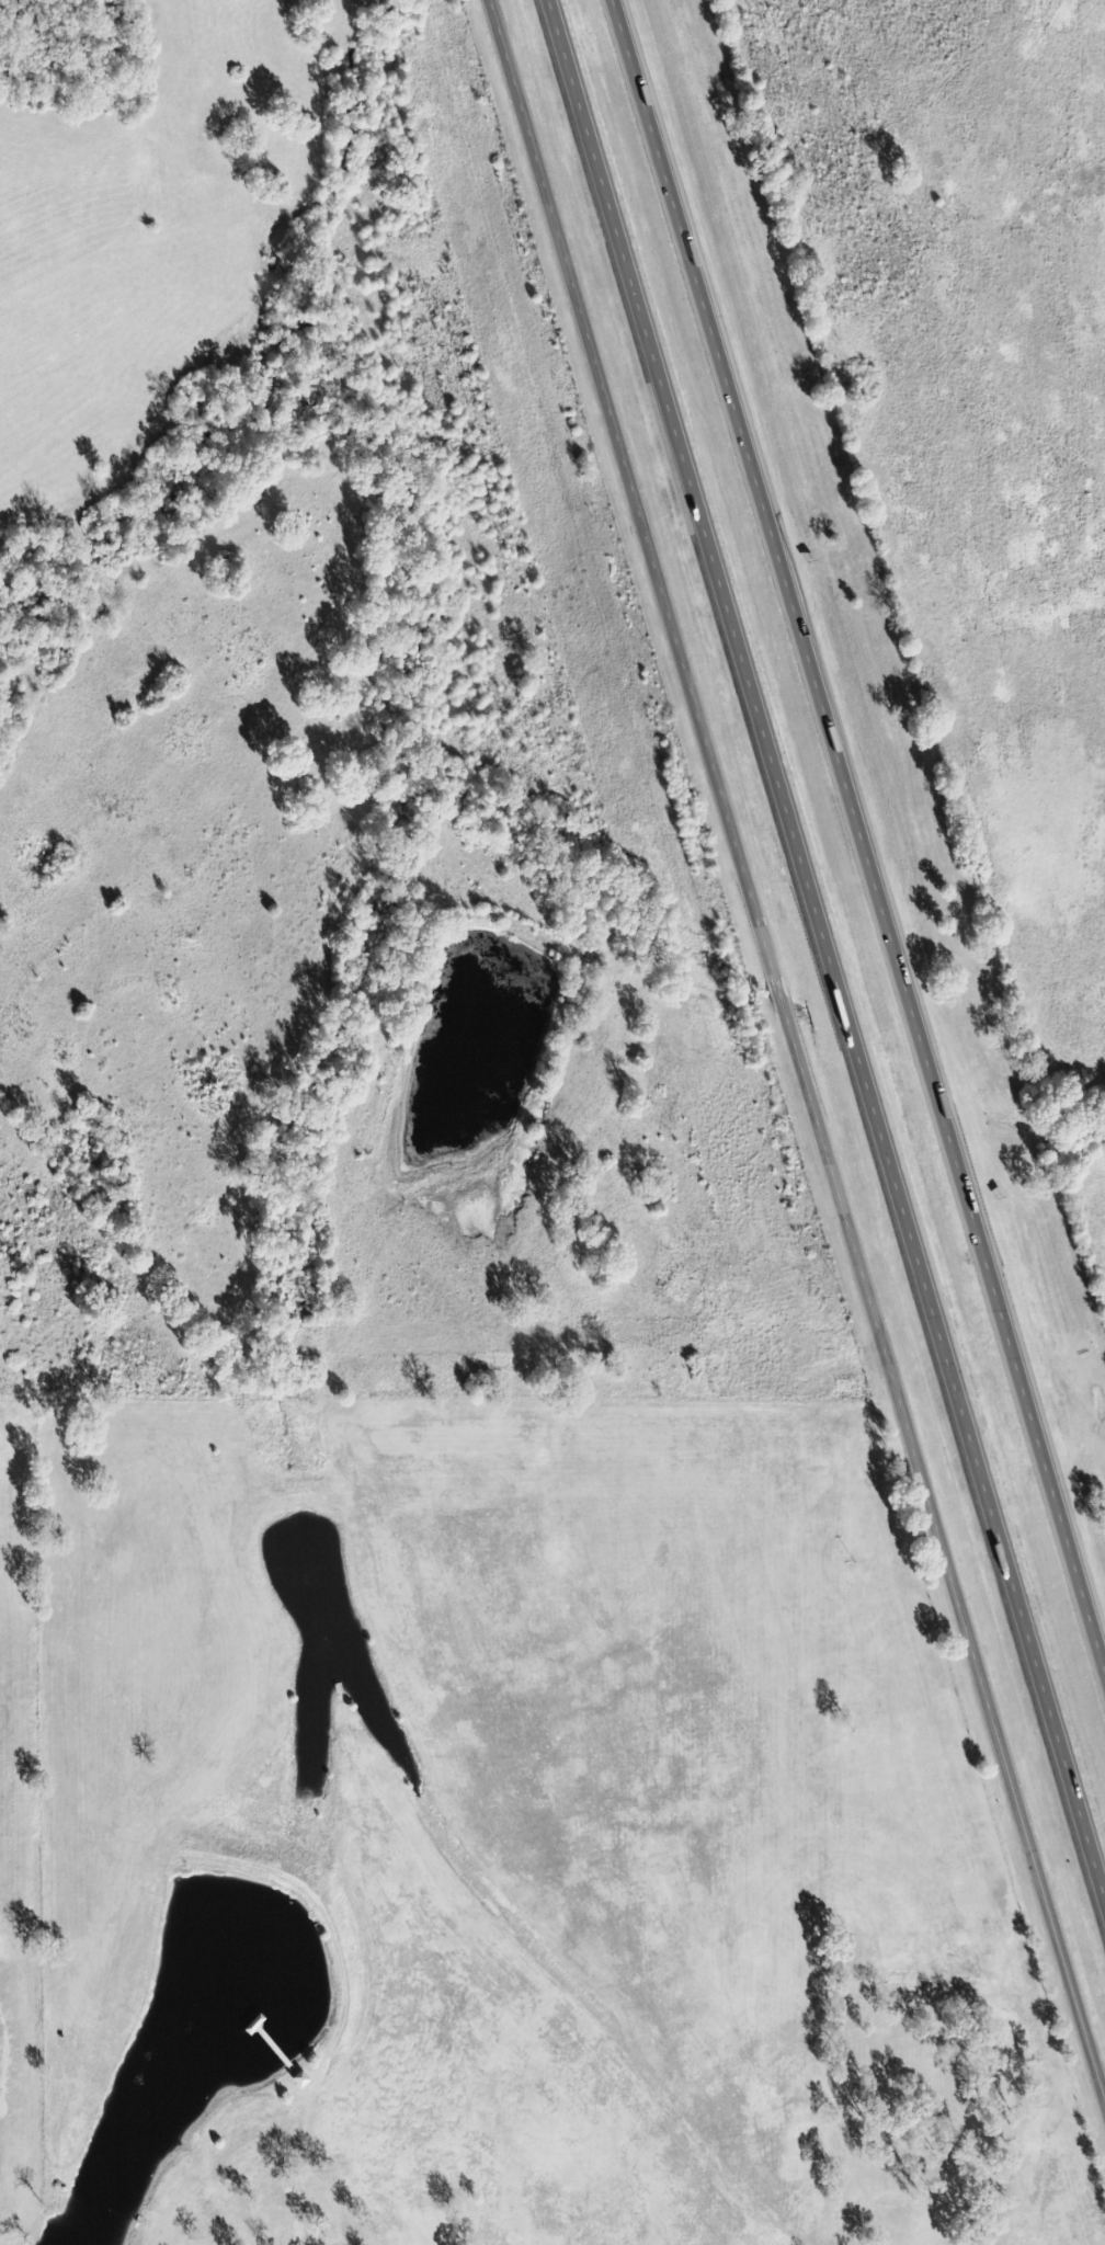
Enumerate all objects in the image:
road: (858, 835)
road: (819, 943)
road: (798, 1050)
road: (1098, 1409)
road: (1104, 1421)

